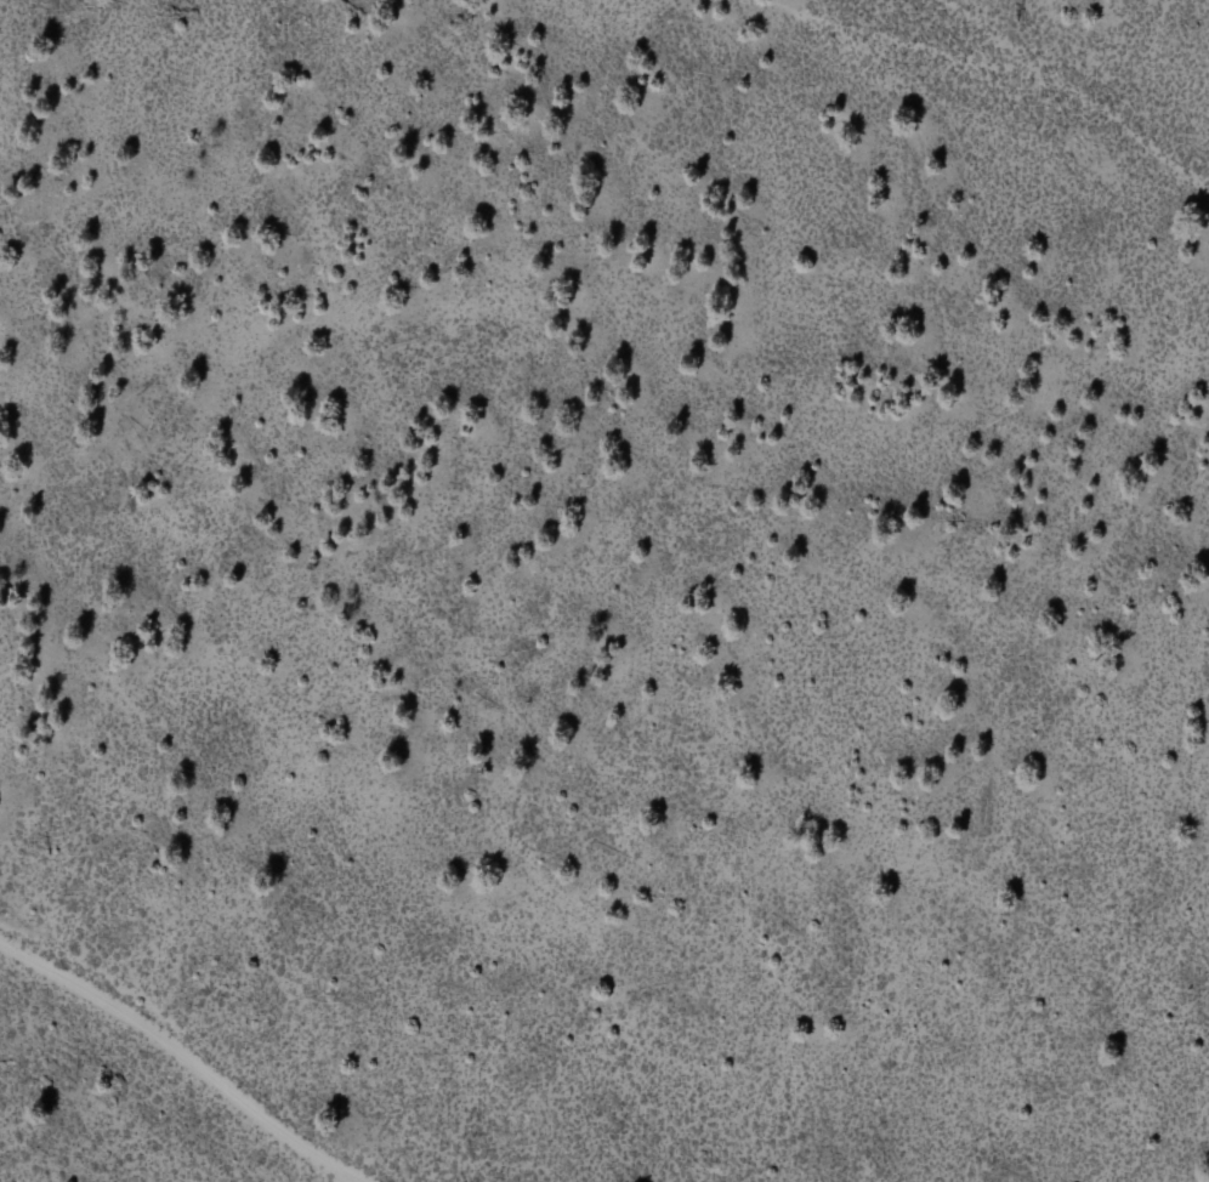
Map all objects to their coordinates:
road: (1177, 176)
road: (180, 1058)

